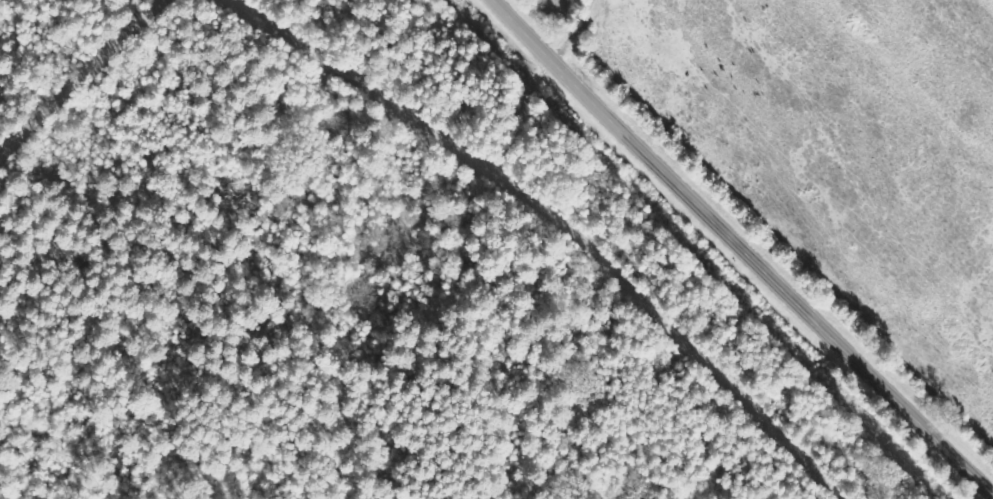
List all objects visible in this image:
road: (741, 248)

